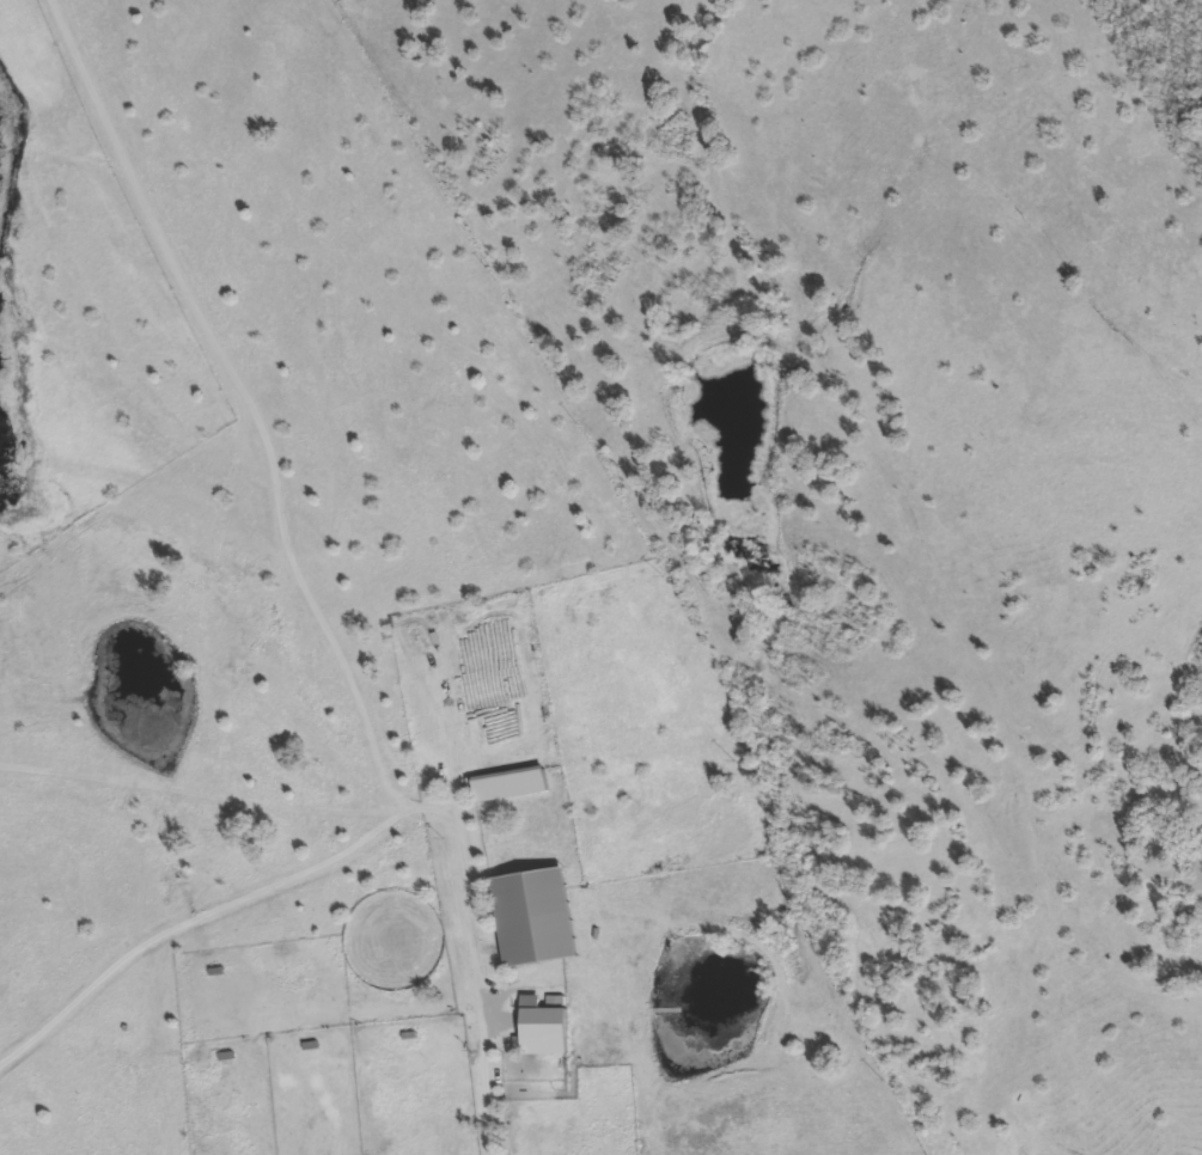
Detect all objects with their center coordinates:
building: (513, 786)
building: (537, 917)
road: (474, 952)
building: (545, 1032)

